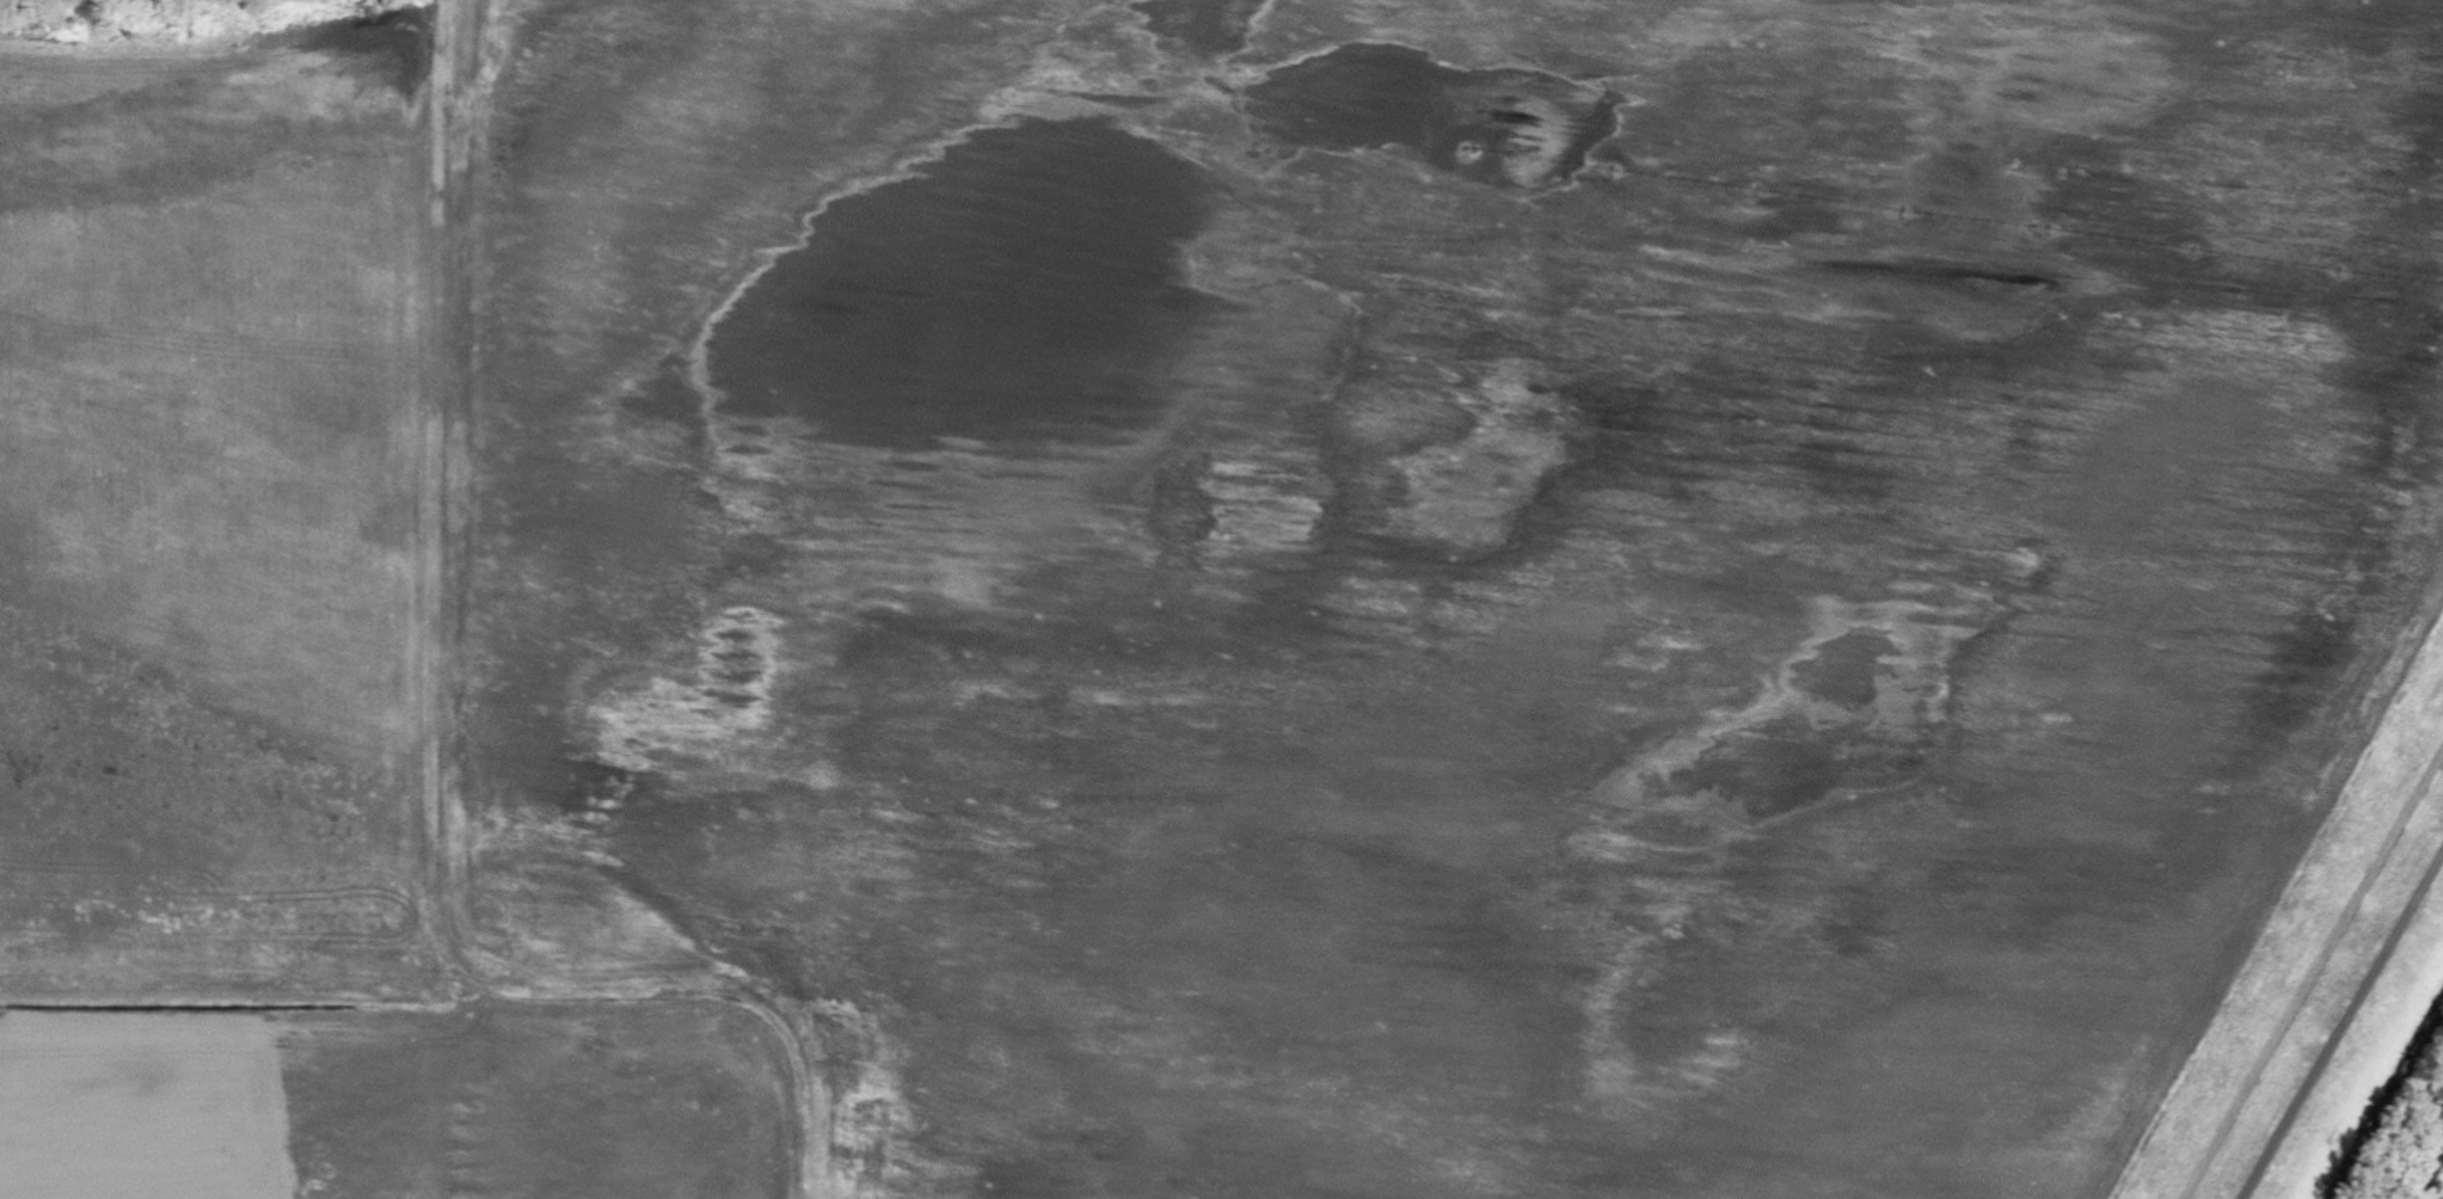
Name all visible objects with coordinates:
road: (2315, 982)
road: (2343, 1027)

